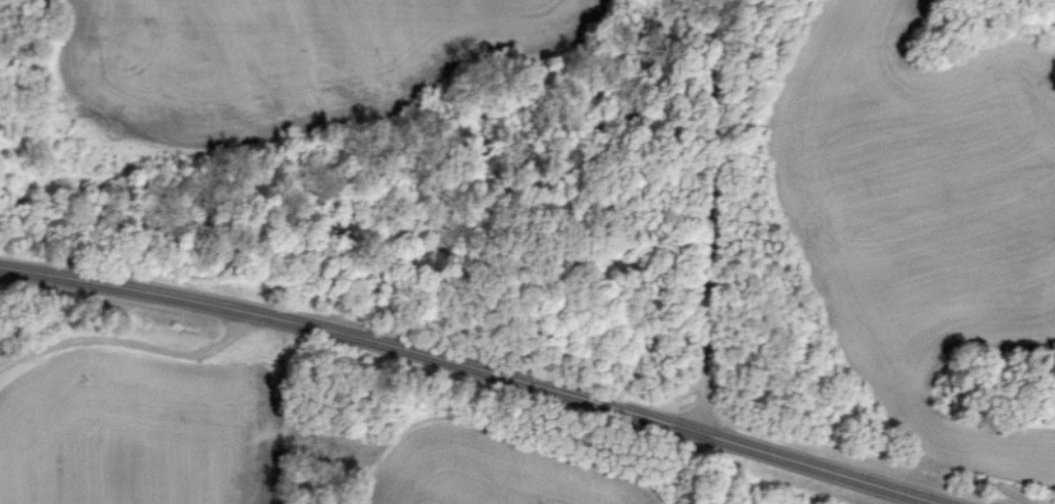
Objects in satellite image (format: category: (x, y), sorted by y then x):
road: (710, 219)
road: (466, 363)

